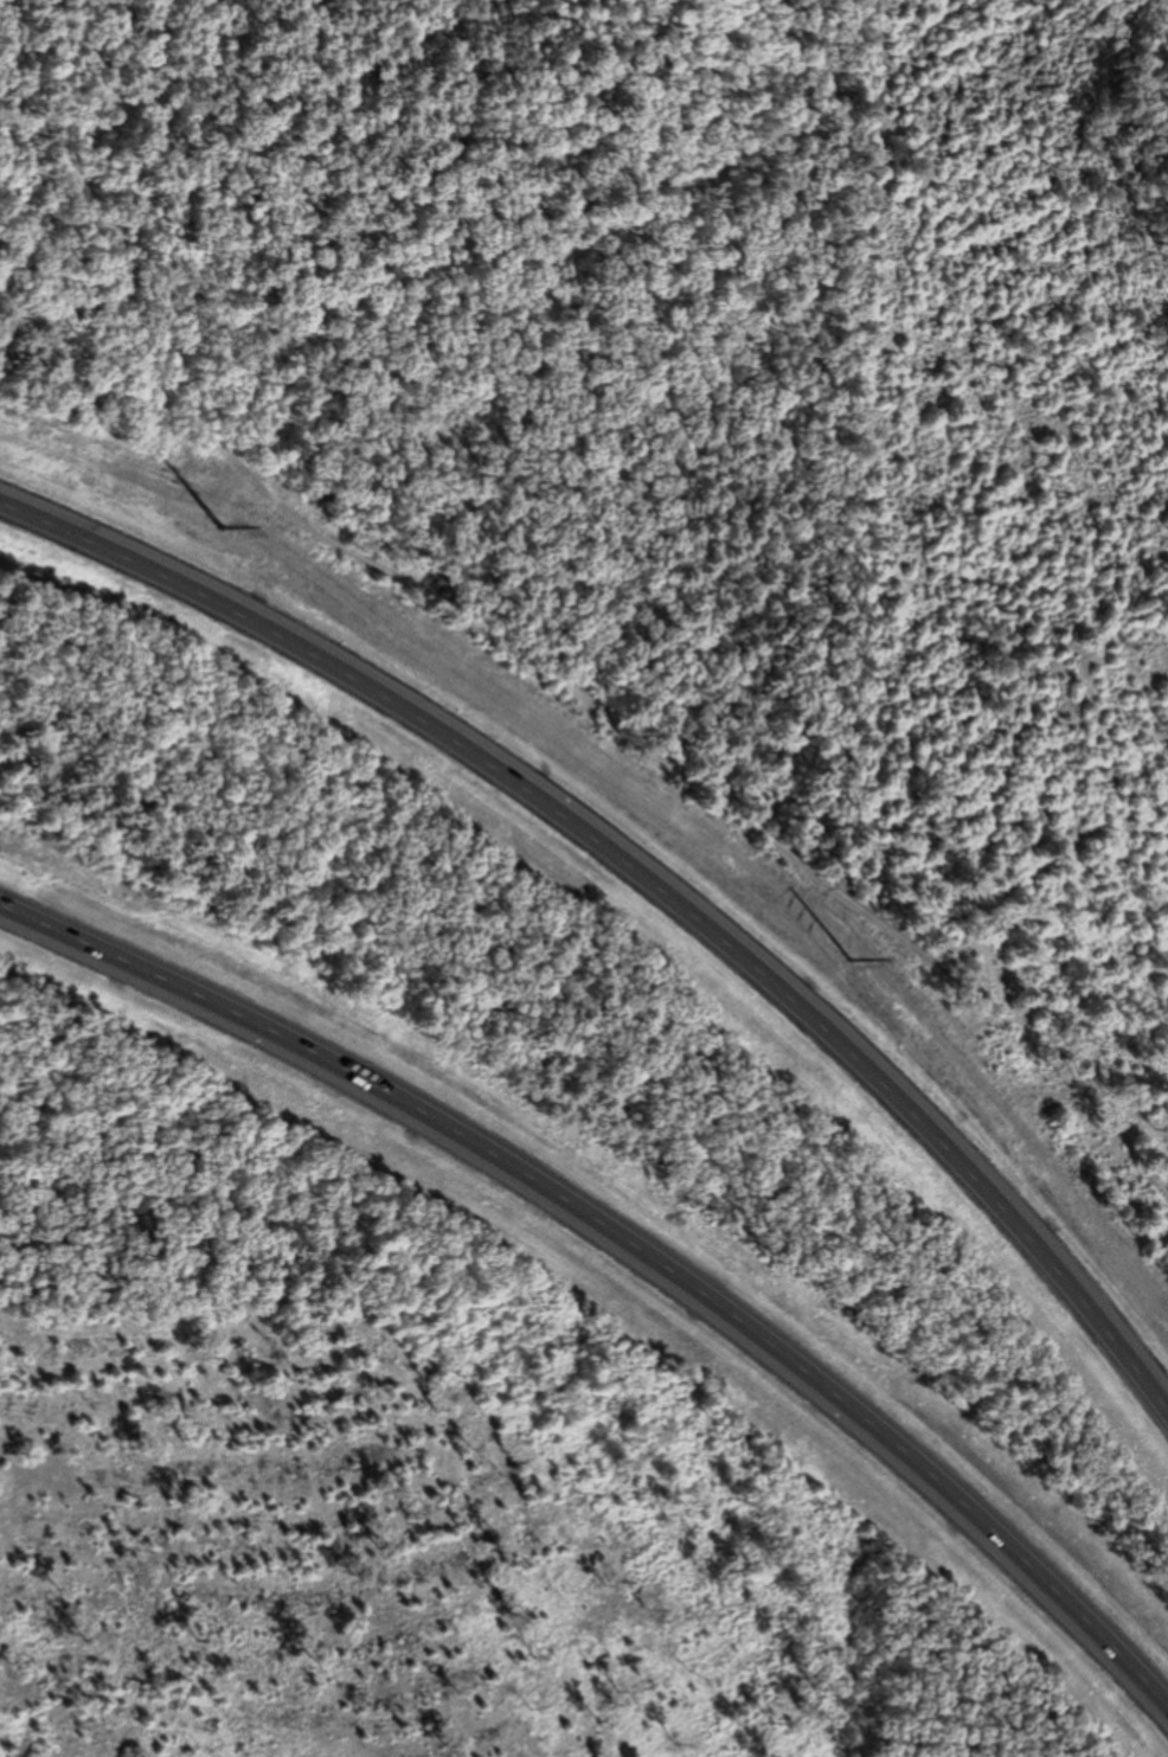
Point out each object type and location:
power tower: (222, 526)
road: (643, 884)
power tower: (848, 957)
road: (633, 1252)

